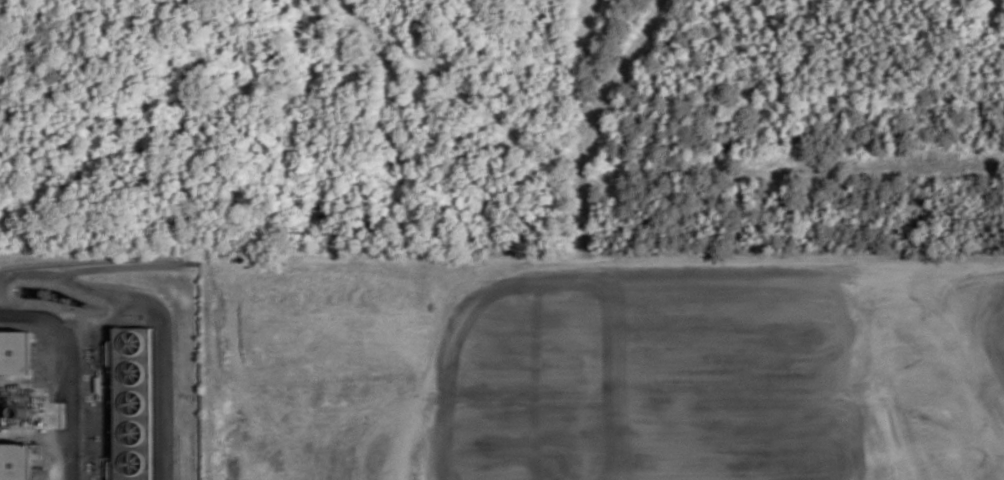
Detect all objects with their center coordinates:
road: (558, 278)
building: (15, 352)
road: (71, 369)
power plant: (100, 371)
building: (131, 402)
building: (8, 412)
chimney: (25, 413)
building: (683, 448)

